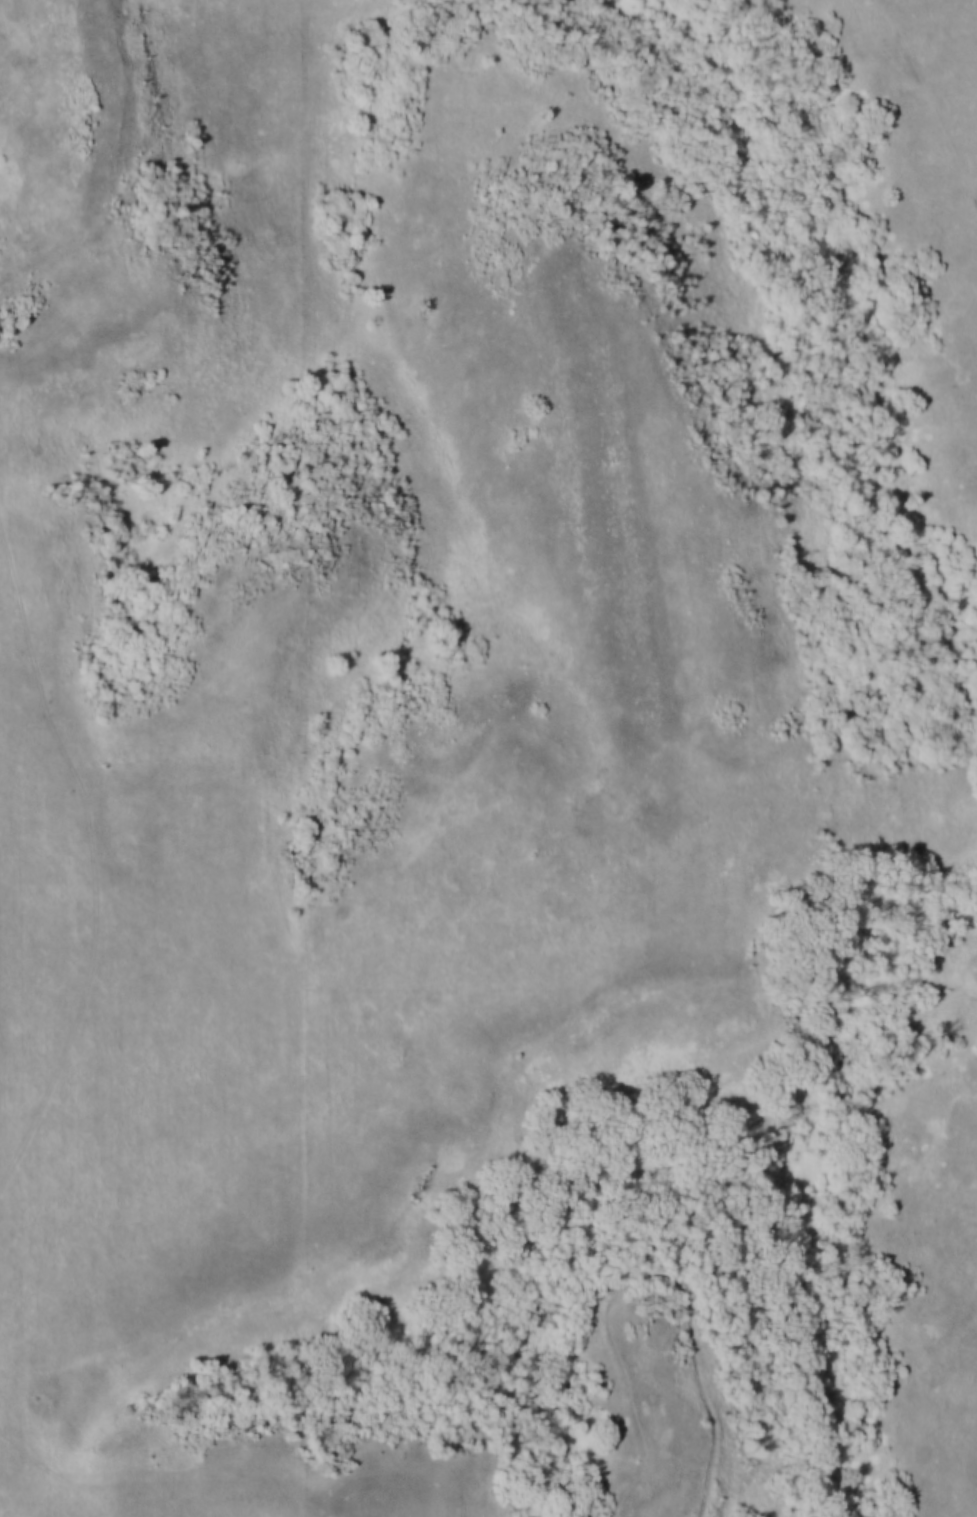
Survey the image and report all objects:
park: (639, 1253)

